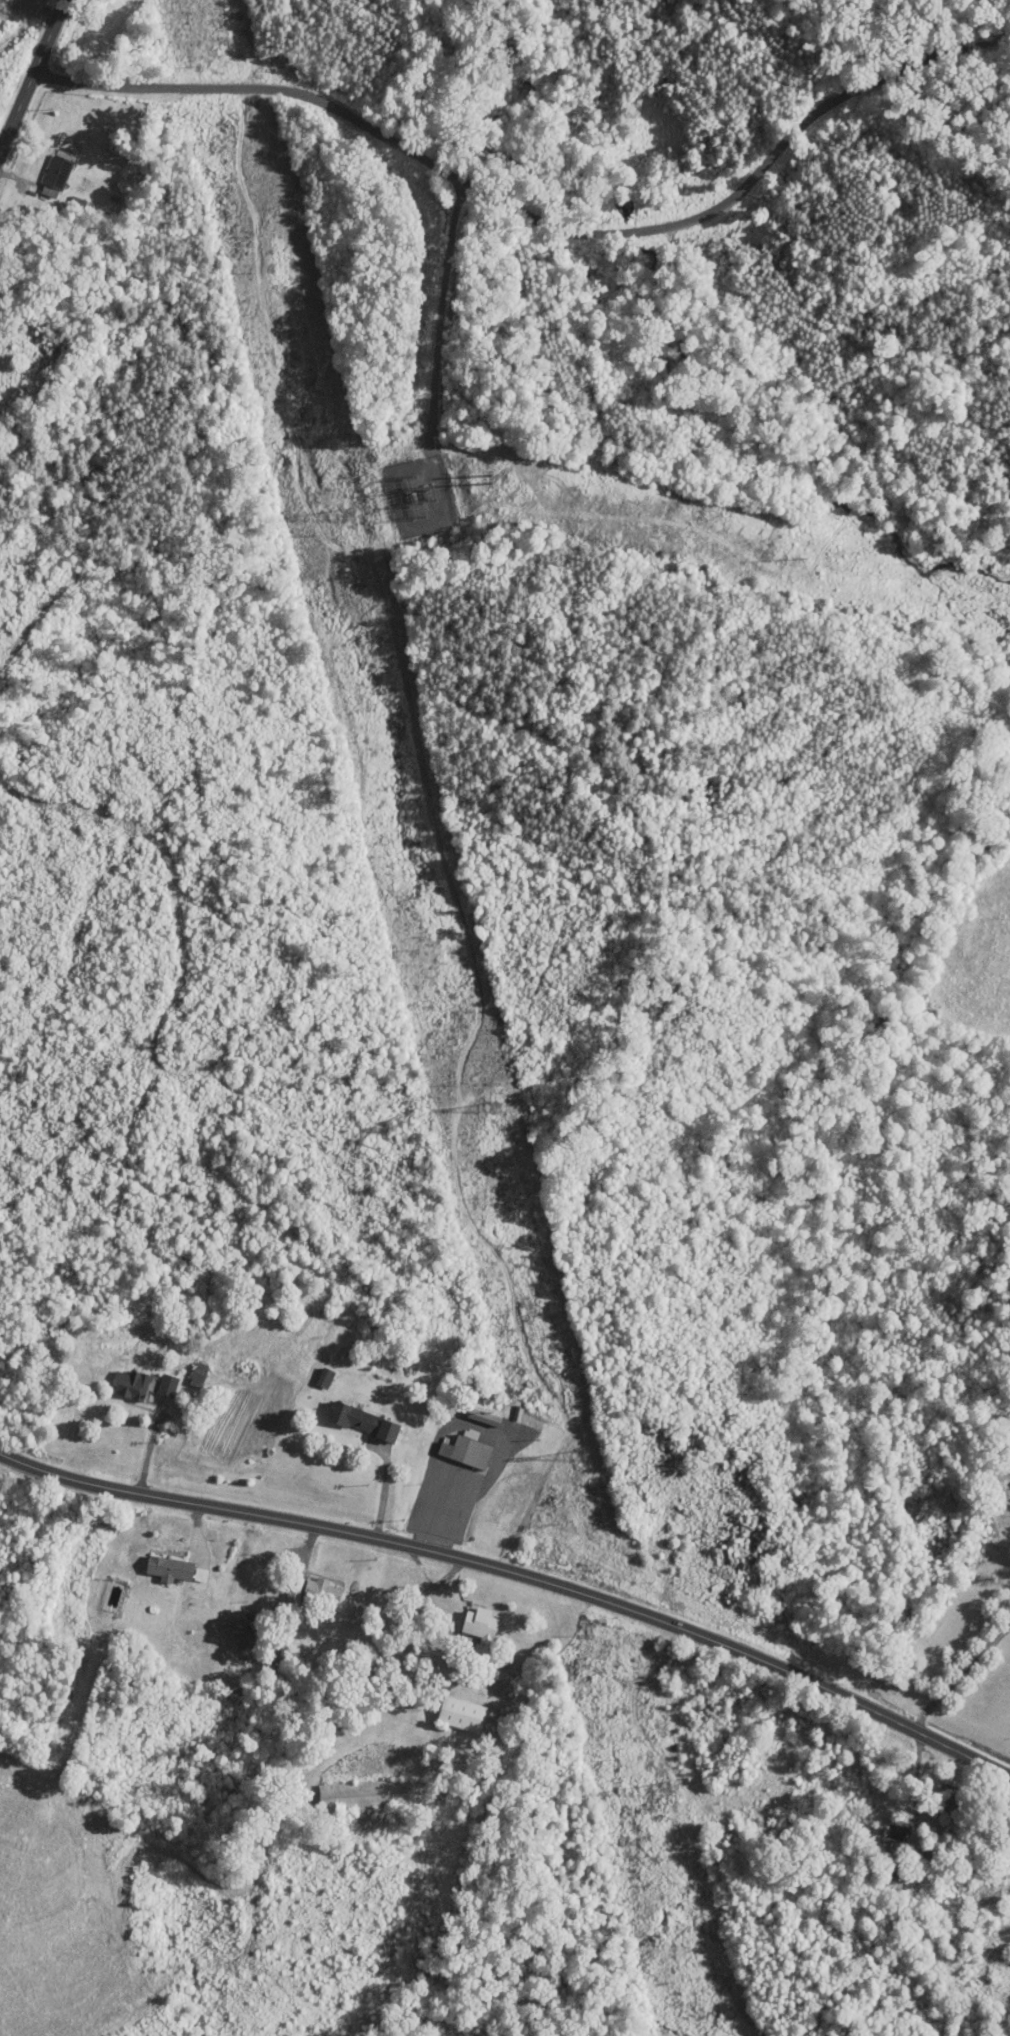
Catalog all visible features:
road: (31, 73)
building: (57, 176)
road: (530, 206)
power tower: (347, 515)
power tower: (494, 1110)
road: (24, 1196)
road: (55, 1318)
building: (199, 1375)
building: (325, 1378)
building: (132, 1386)
building: (168, 1386)
building: (484, 1418)
building: (364, 1423)
building: (468, 1452)
power tower: (581, 1452)
road: (383, 1491)
road: (139, 1549)
building: (170, 1569)
road: (518, 1574)
building: (295, 1591)
building: (323, 1593)
building: (481, 1627)
road: (959, 1674)
building: (462, 1715)
power tower: (664, 1788)
building: (363, 1796)
building: (950, 1802)
building: (896, 1835)
building: (897, 1877)

